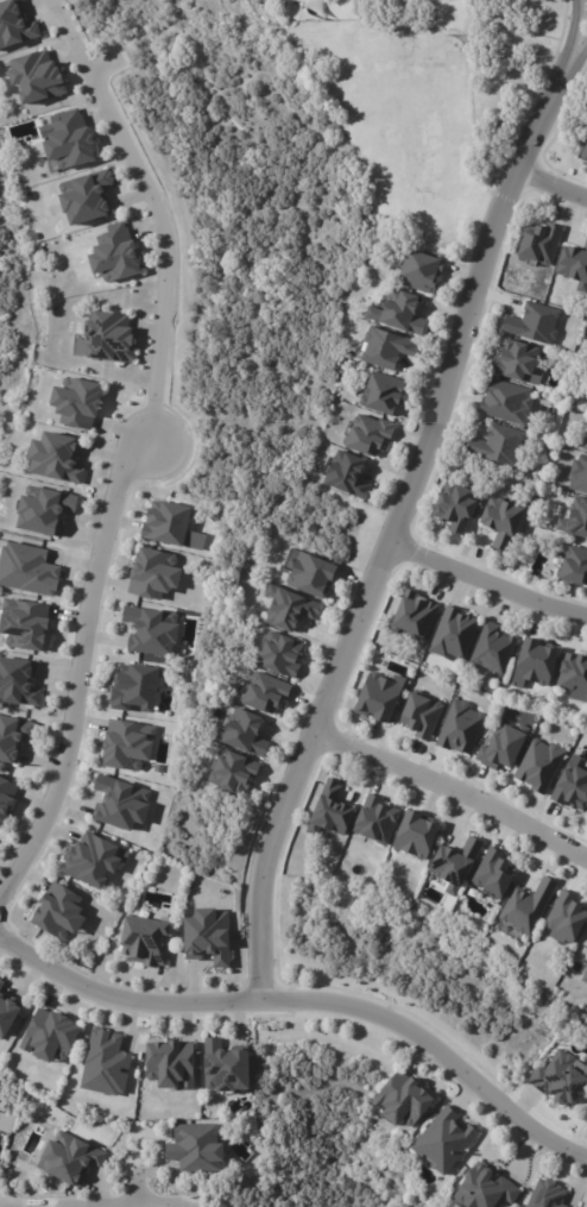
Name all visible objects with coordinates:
building: (481, 21)
building: (14, 24)
road: (574, 31)
road: (579, 56)
building: (36, 75)
park: (408, 94)
building: (505, 134)
building: (68, 139)
building: (583, 151)
road: (553, 184)
building: (89, 197)
road: (156, 209)
building: (539, 245)
building: (116, 254)
building: (573, 266)
building: (416, 271)
building: (398, 314)
building: (534, 325)
building: (109, 334)
building: (384, 350)
building: (515, 363)
building: (379, 396)
building: (76, 402)
building: (505, 402)
building: (364, 435)
building: (585, 442)
building: (497, 446)
building: (56, 457)
building: (579, 473)
building: (343, 478)
building: (453, 508)
building: (44, 509)
building: (576, 516)
building: (498, 521)
road: (399, 528)
building: (573, 567)
building: (29, 570)
building: (153, 572)
building: (308, 576)
road: (490, 582)
building: (285, 610)
building: (411, 616)
building: (25, 623)
building: (151, 630)
building: (454, 637)
building: (492, 646)
building: (278, 655)
building: (535, 665)
building: (574, 675)
road: (88, 677)
building: (19, 683)
building: (134, 687)
building: (261, 694)
building: (375, 699)
building: (419, 716)
building: (461, 728)
building: (12, 735)
building: (244, 735)
building: (127, 744)
building: (500, 747)
building: (538, 766)
building: (229, 774)
road: (454, 787)
building: (569, 788)
building: (6, 799)
building: (120, 801)
building: (330, 811)
building: (374, 821)
building: (416, 836)
building: (90, 860)
building: (455, 862)
building: (492, 875)
building: (526, 906)
building: (58, 910)
building: (566, 918)
building: (207, 936)
building: (147, 942)
building: (583, 977)
road: (308, 1000)
building: (8, 1013)
building: (55, 1037)
building: (173, 1063)
building: (226, 1063)
building: (108, 1065)
building: (558, 1081)
building: (1, 1087)
building: (0, 1100)
building: (402, 1100)
building: (442, 1142)
building: (195, 1144)
building: (75, 1161)
building: (484, 1190)
building: (544, 1195)
road: (84, 1205)
building: (586, 1206)

